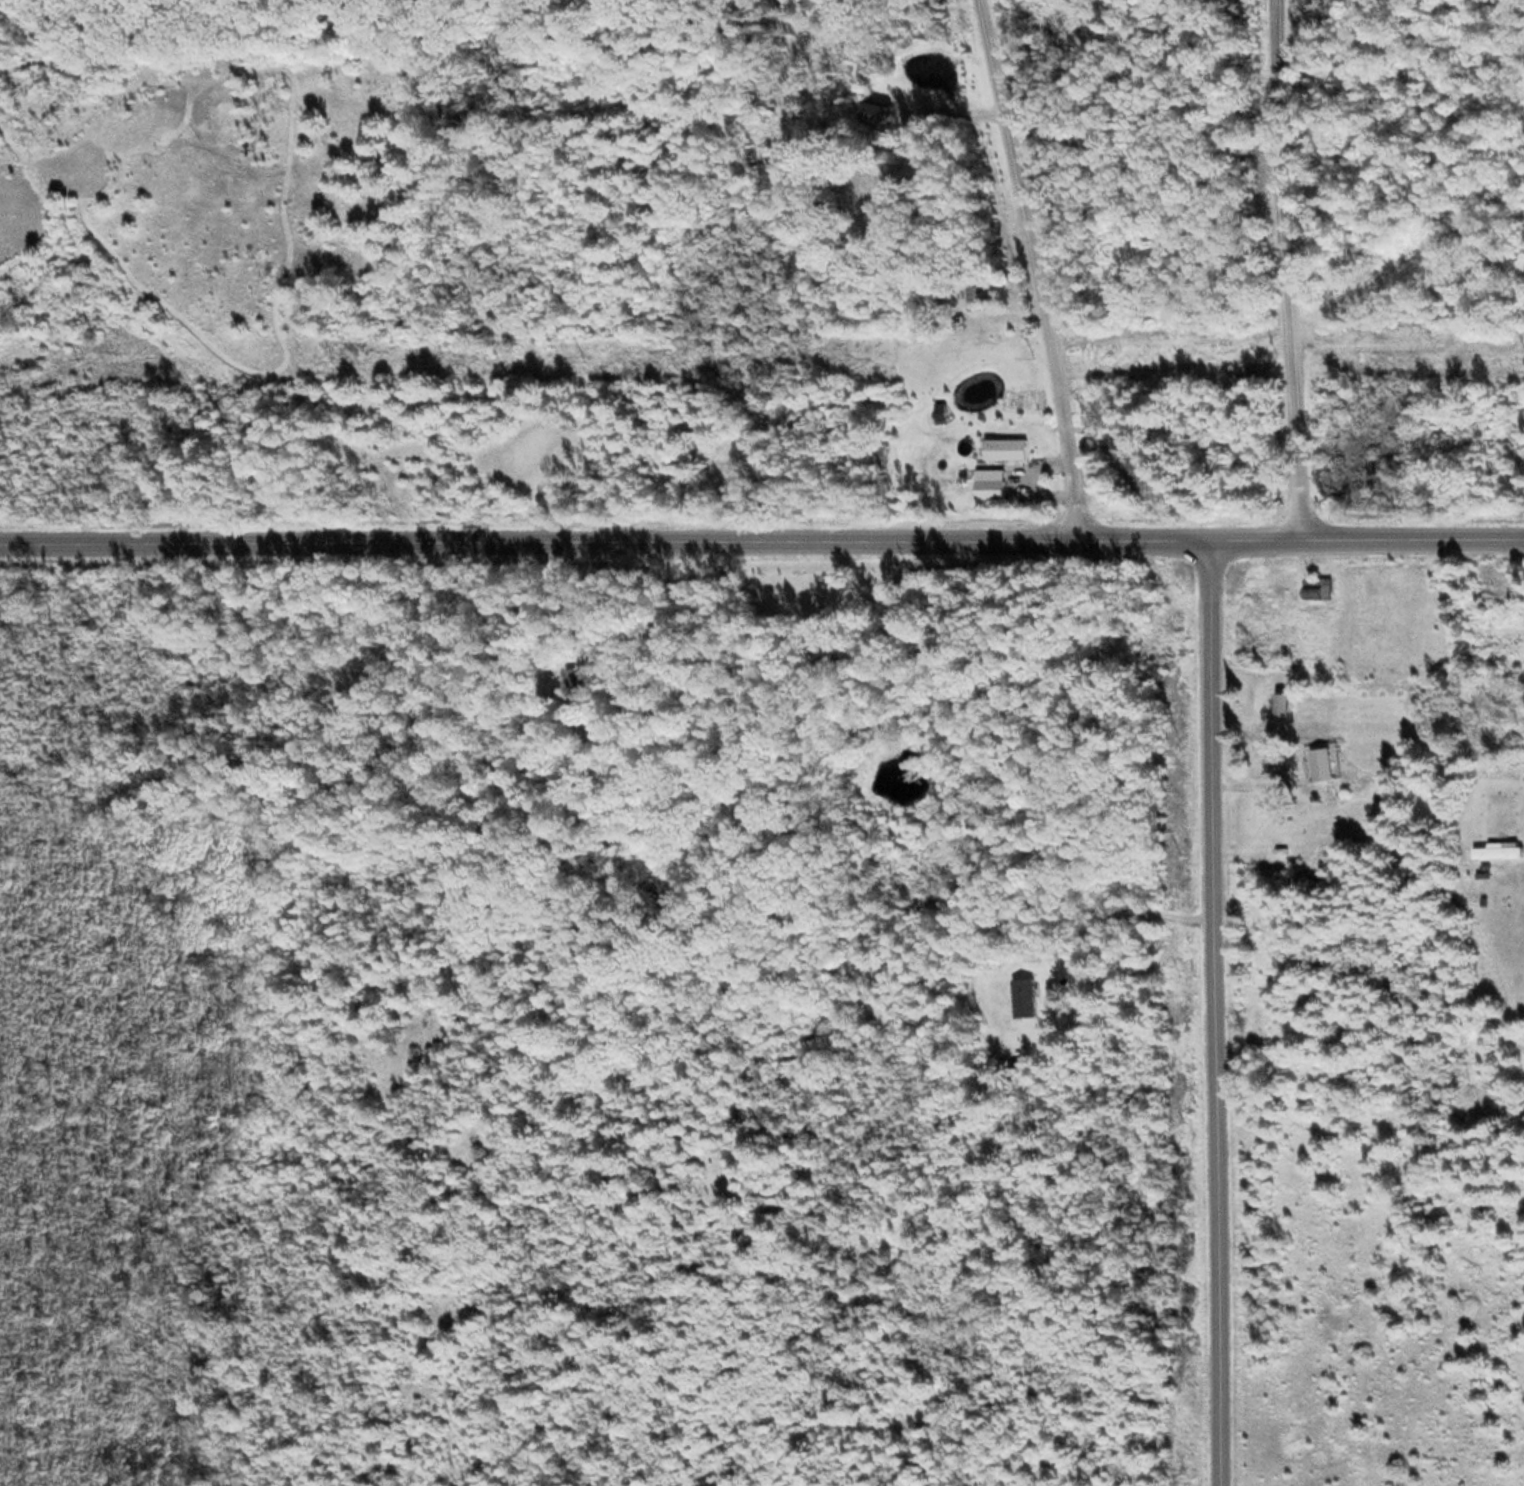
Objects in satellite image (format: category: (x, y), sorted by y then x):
building: (879, 110)
road: (1045, 265)
road: (1292, 267)
building: (982, 295)
building: (941, 412)
building: (1005, 448)
road: (762, 535)
building: (1317, 586)
building: (1325, 764)
building: (1499, 850)
building: (1277, 852)
road: (1225, 1010)

